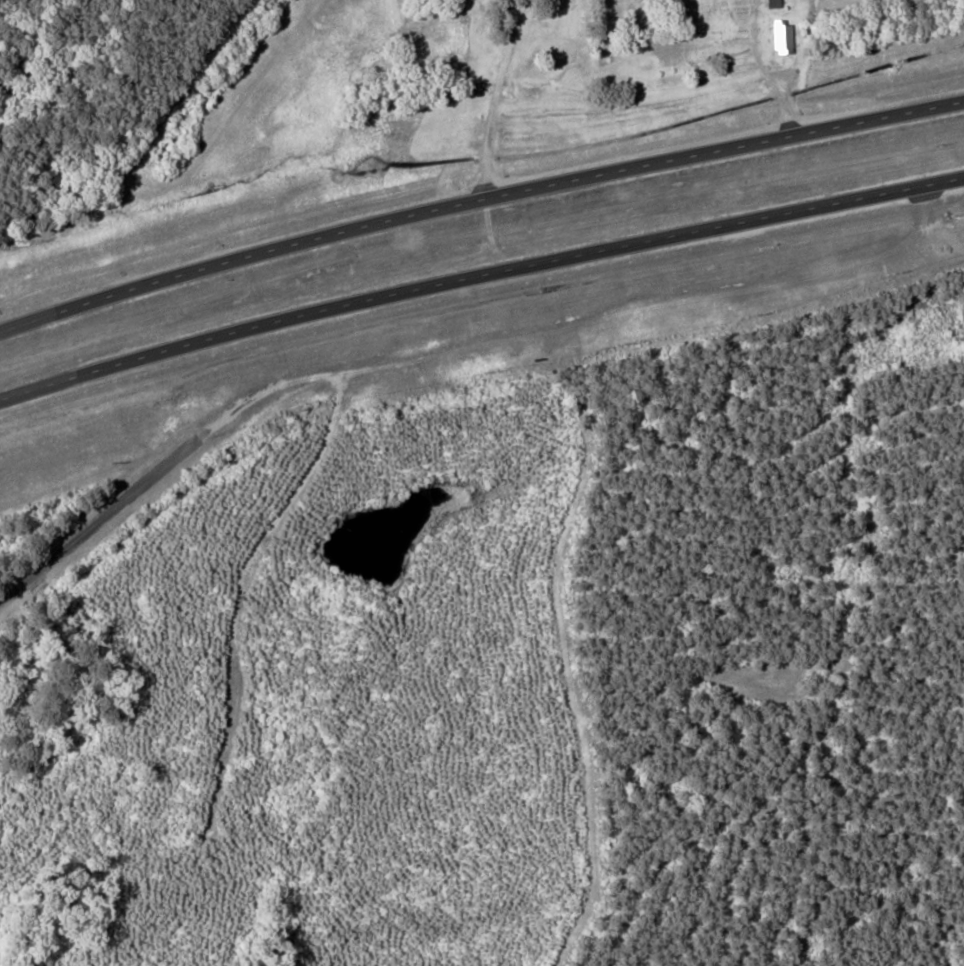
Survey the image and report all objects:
building: (771, 3)
building: (781, 36)
road: (477, 199)
road: (478, 276)

